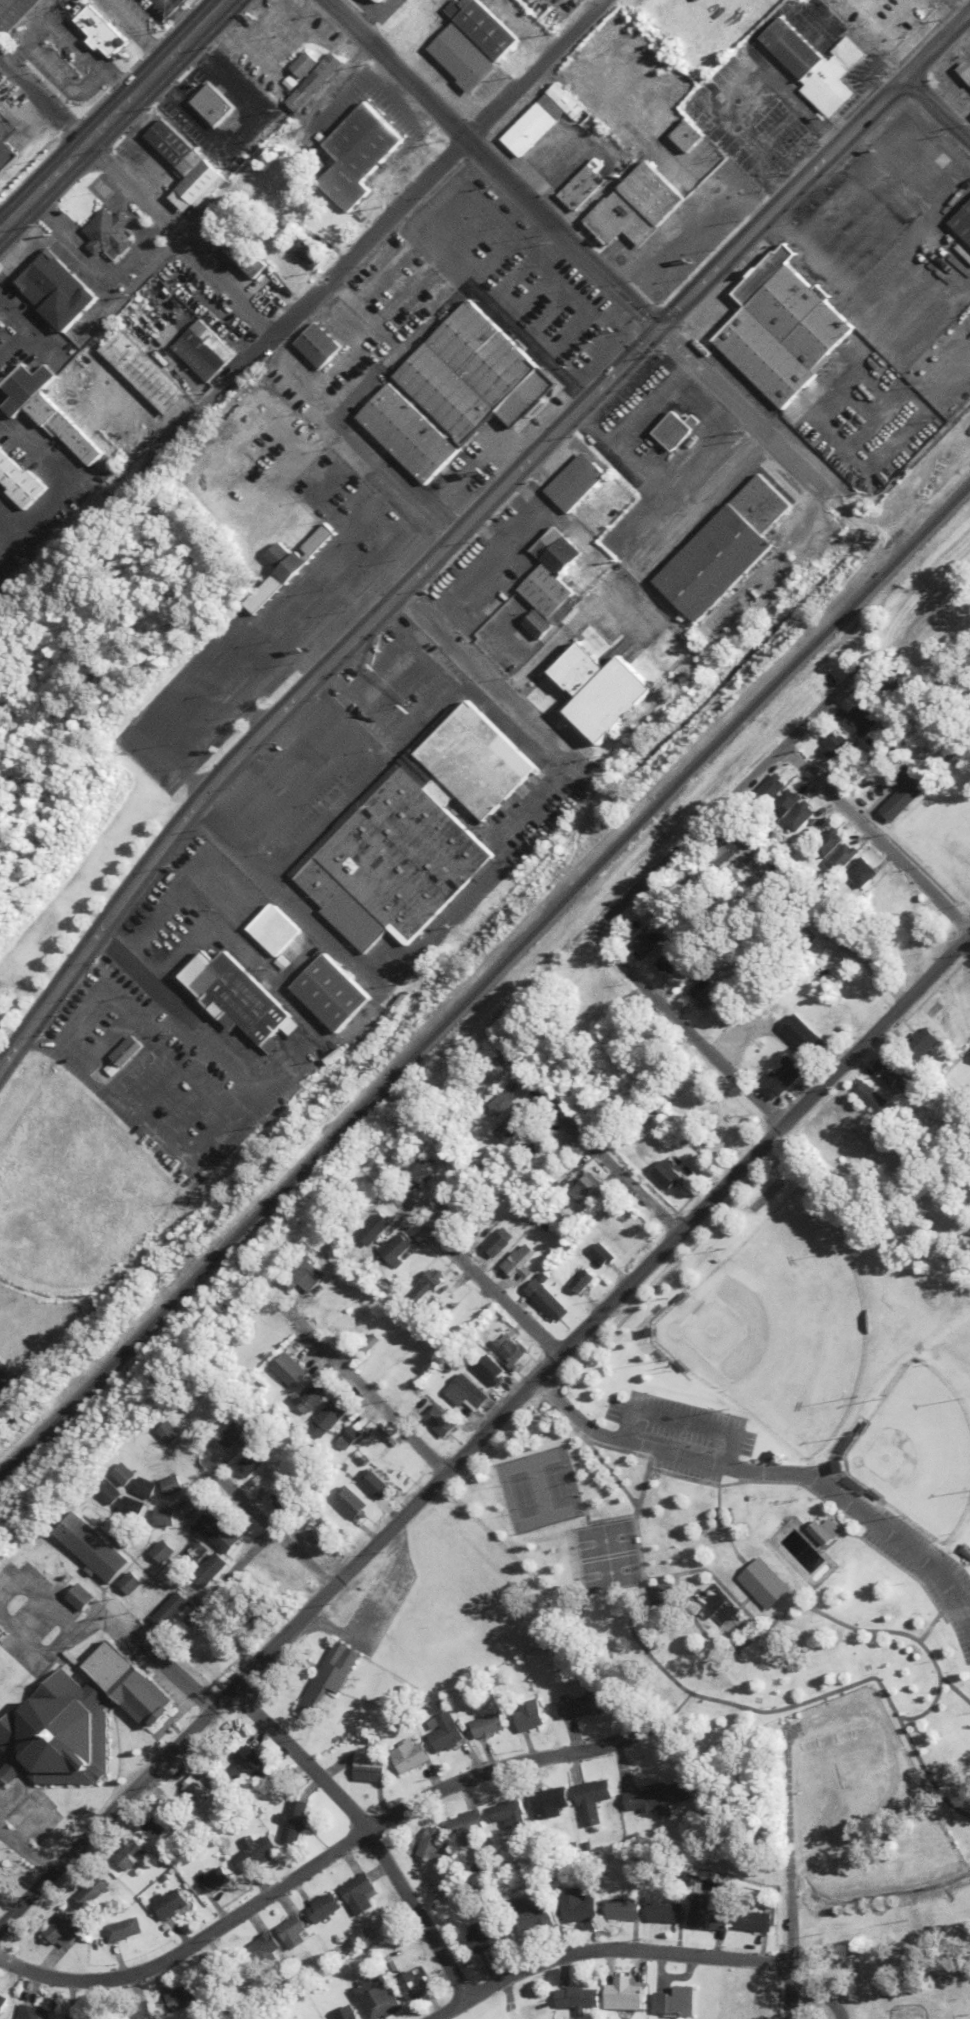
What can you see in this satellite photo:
road: (100, 0)
building: (378, 0)
building: (376, 1)
building: (12, 13)
road: (38, 18)
building: (479, 26)
building: (99, 31)
road: (131, 31)
road: (79, 35)
road: (86, 56)
building: (458, 56)
building: (304, 64)
building: (814, 65)
building: (965, 71)
road: (58, 78)
building: (313, 82)
building: (210, 102)
road: (934, 110)
road: (111, 115)
building: (545, 120)
building: (902, 145)
building: (6, 148)
building: (176, 148)
building: (357, 153)
building: (939, 158)
road: (487, 165)
road: (812, 166)
building: (199, 188)
building: (581, 190)
road: (135, 198)
building: (639, 207)
building: (963, 223)
building: (109, 235)
building: (239, 248)
building: (312, 254)
road: (330, 273)
building: (58, 295)
traffic signals: (655, 329)
building: (783, 330)
building: (320, 346)
building: (201, 350)
building: (141, 371)
building: (477, 375)
building: (49, 411)
road: (738, 412)
building: (675, 429)
building: (410, 434)
road: (62, 476)
building: (577, 481)
building: (20, 482)
road: (415, 507)
building: (317, 542)
building: (724, 550)
building: (556, 551)
building: (279, 555)
building: (545, 590)
building: (268, 593)
building: (489, 608)
building: (538, 625)
road: (569, 628)
building: (959, 628)
road: (311, 682)
road: (490, 685)
building: (606, 690)
building: (865, 718)
building: (837, 746)
building: (479, 761)
building: (773, 788)
building: (904, 794)
road: (725, 801)
building: (787, 803)
building: (801, 817)
road: (875, 841)
building: (829, 842)
building: (843, 857)
building: (394, 865)
building: (861, 873)
building: (272, 930)
building: (643, 946)
building: (670, 960)
road: (137, 975)
railway: (482, 979)
building: (330, 993)
building: (703, 996)
building: (236, 1000)
road: (687, 1035)
building: (802, 1037)
building: (922, 1043)
building: (121, 1050)
building: (889, 1072)
building: (784, 1078)
building: (481, 1087)
building: (500, 1104)
building: (512, 1120)
building: (532, 1136)
road: (585, 1144)
building: (415, 1167)
building: (668, 1177)
building: (583, 1188)
building: (462, 1210)
building: (372, 1229)
building: (494, 1242)
building: (394, 1248)
building: (598, 1254)
building: (515, 1262)
road: (467, 1275)
building: (305, 1276)
building: (578, 1279)
building: (421, 1288)
building: (542, 1301)
road: (597, 1309)
park: (776, 1324)
building: (354, 1328)
building: (288, 1370)
building: (486, 1373)
road: (363, 1392)
building: (462, 1395)
building: (312, 1398)
building: (329, 1419)
road: (679, 1420)
building: (435, 1421)
building: (164, 1433)
building: (234, 1433)
building: (350, 1437)
building: (137, 1447)
park: (916, 1451)
building: (255, 1459)
building: (392, 1467)
road: (769, 1473)
building: (120, 1474)
park: (765, 1478)
road: (640, 1479)
building: (373, 1484)
building: (169, 1485)
building: (141, 1488)
park: (535, 1489)
building: (106, 1493)
building: (284, 1495)
park: (969, 1498)
building: (352, 1503)
building: (129, 1506)
building: (189, 1506)
building: (162, 1517)
road: (269, 1530)
building: (826, 1532)
building: (220, 1533)
building: (123, 1536)
building: (94, 1548)
building: (966, 1550)
building: (164, 1551)
park: (607, 1557)
building: (213, 1570)
building: (132, 1583)
building: (764, 1583)
road: (213, 1593)
building: (667, 1593)
building: (82, 1598)
road: (366, 1603)
building: (175, 1610)
road: (60, 1618)
building: (211, 1652)
road: (931, 1656)
road: (171, 1671)
road: (670, 1673)
building: (329, 1676)
road: (954, 1689)
building: (579, 1706)
building: (528, 1717)
building: (79, 1720)
building: (488, 1726)
building: (444, 1732)
building: (407, 1756)
building: (367, 1766)
building: (247, 1771)
road: (897, 1775)
building: (660, 1797)
building: (590, 1801)
building: (548, 1803)
road: (115, 1808)
building: (506, 1813)
building: (290, 1822)
building: (157, 1825)
building: (465, 1825)
road: (363, 1833)
building: (430, 1845)
building: (251, 1852)
building: (130, 1853)
road: (25, 1854)
road: (320, 1857)
road: (787, 1873)
park: (11, 1875)
building: (211, 1879)
building: (91, 1891)
building: (353, 1893)
building: (168, 1905)
building: (578, 1906)
building: (318, 1907)
building: (623, 1910)
building: (709, 1911)
building: (531, 1913)
building: (665, 1913)
building: (752, 1921)
building: (61, 1929)
building: (122, 1930)
building: (287, 1932)
building: (487, 1935)
road: (603, 1950)
building: (241, 1961)
building: (412, 1985)
road: (819, 1990)
building: (628, 1996)
building: (180, 1998)
building: (375, 1998)
building: (581, 1999)
building: (2, 2002)
building: (678, 2003)
building: (534, 2011)
building: (136, 2012)
building: (30, 2013)
building: (345, 2014)
building: (80, 2016)

